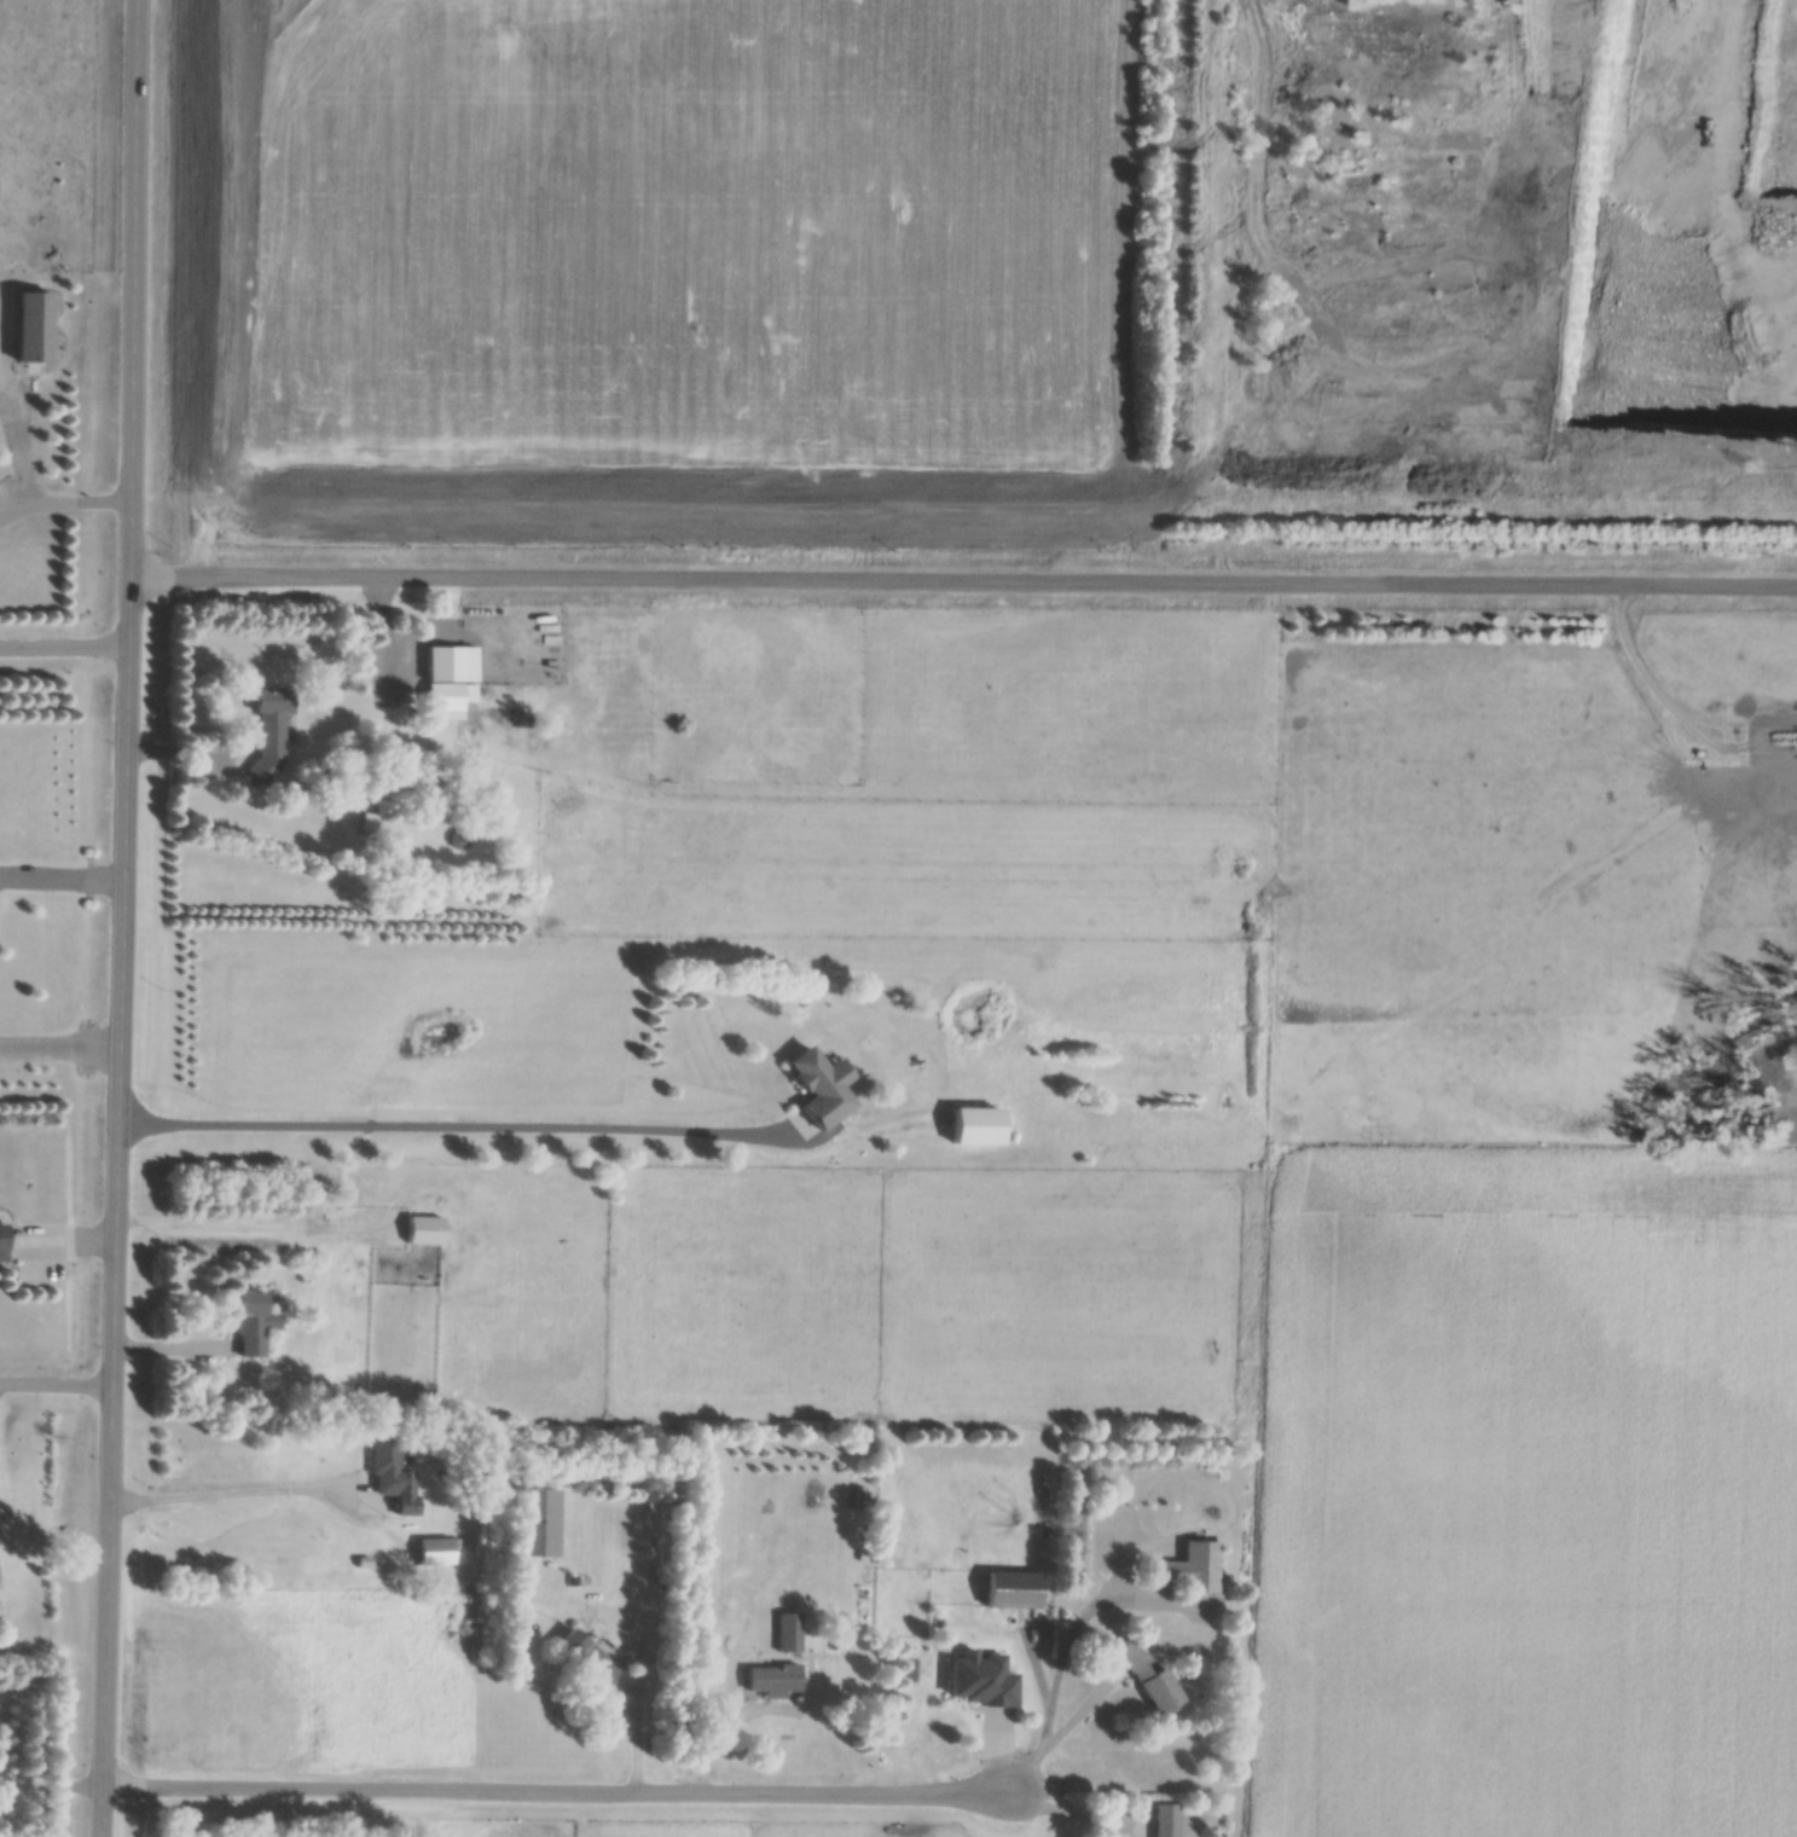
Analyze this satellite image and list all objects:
quarry: (1700, 251)
road: (64, 505)
road: (962, 586)
road: (64, 648)
road: (190, 751)
road: (62, 877)
road: (122, 918)
road: (450, 1129)
road: (56, 1386)
road: (225, 1497)
road: (1054, 1742)
road: (50, 1785)
road: (556, 1797)
road: (1074, 1815)

